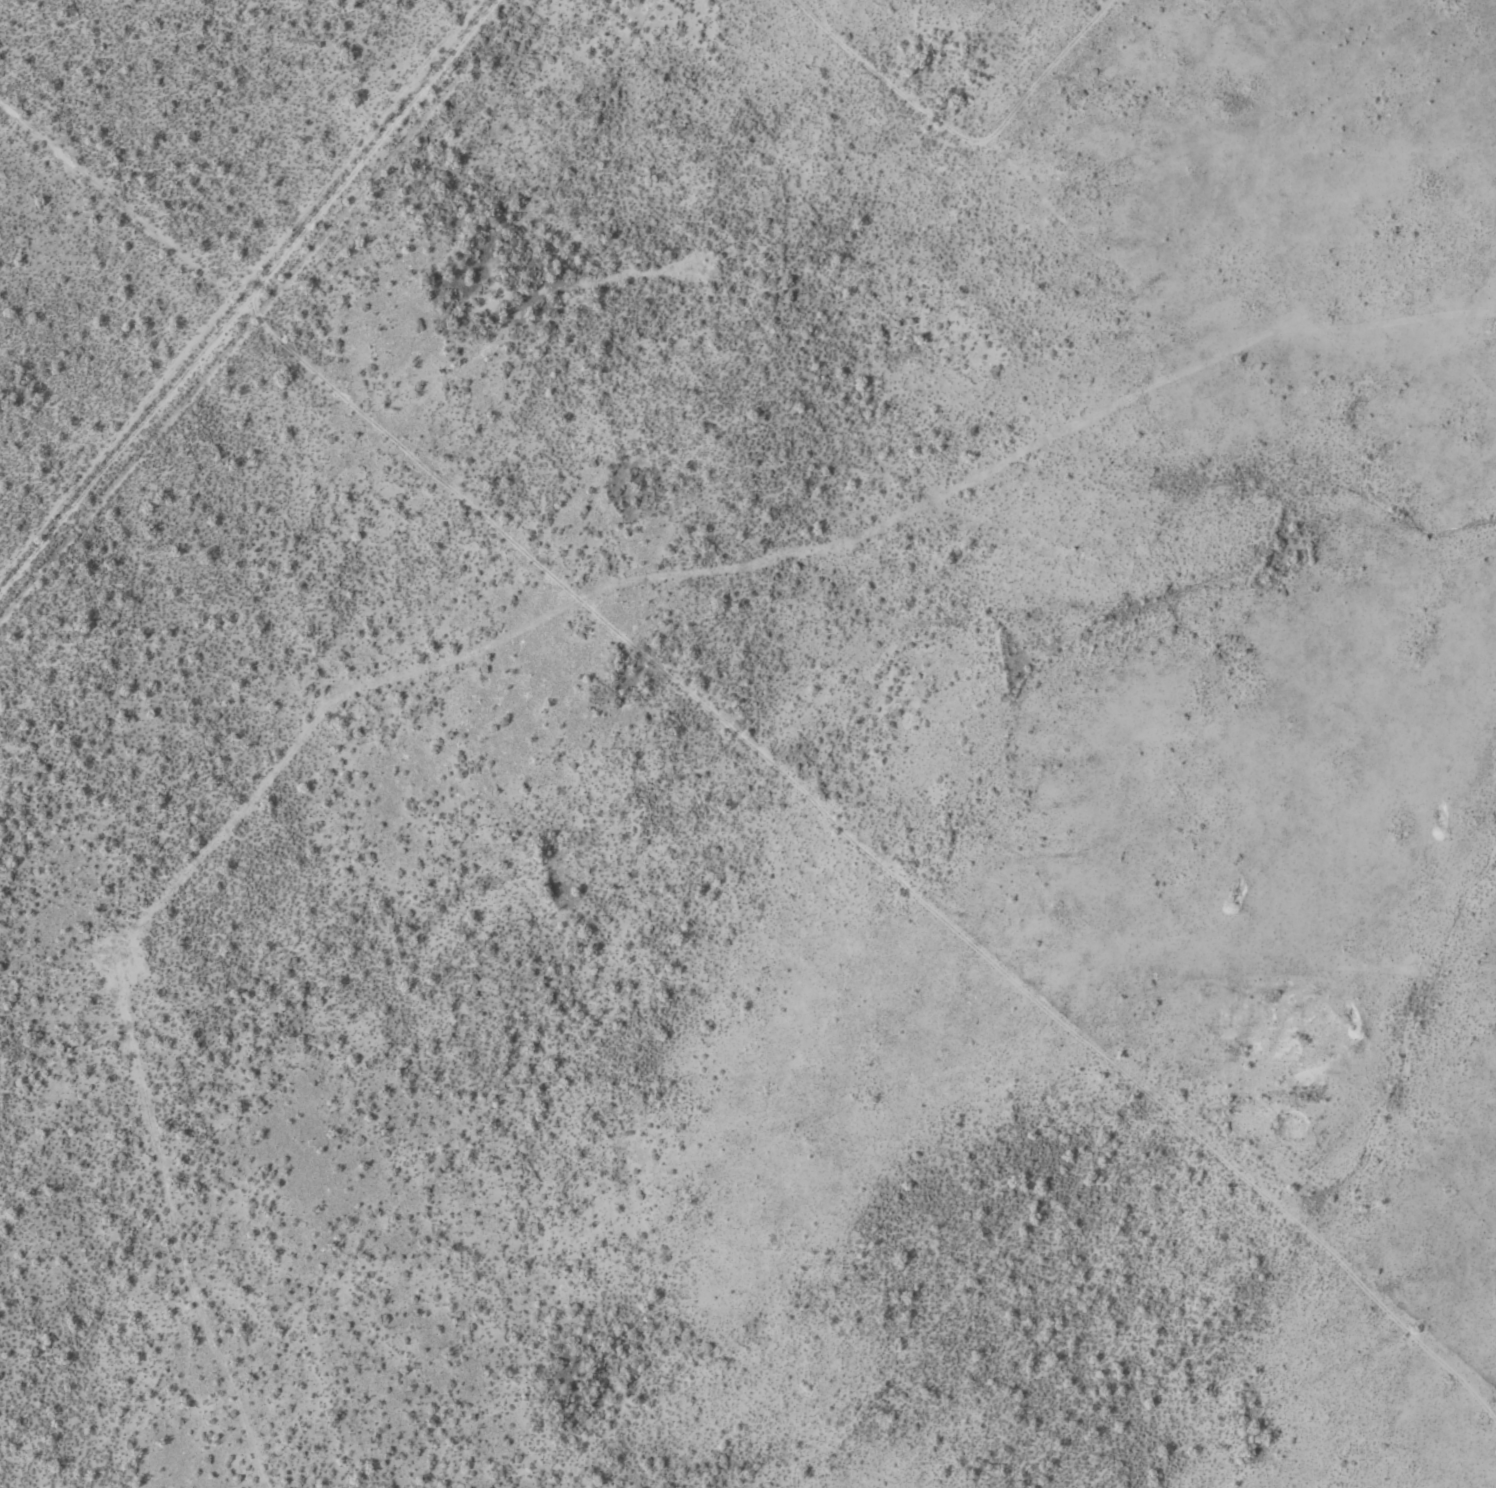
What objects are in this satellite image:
road: (1429, 1153)

